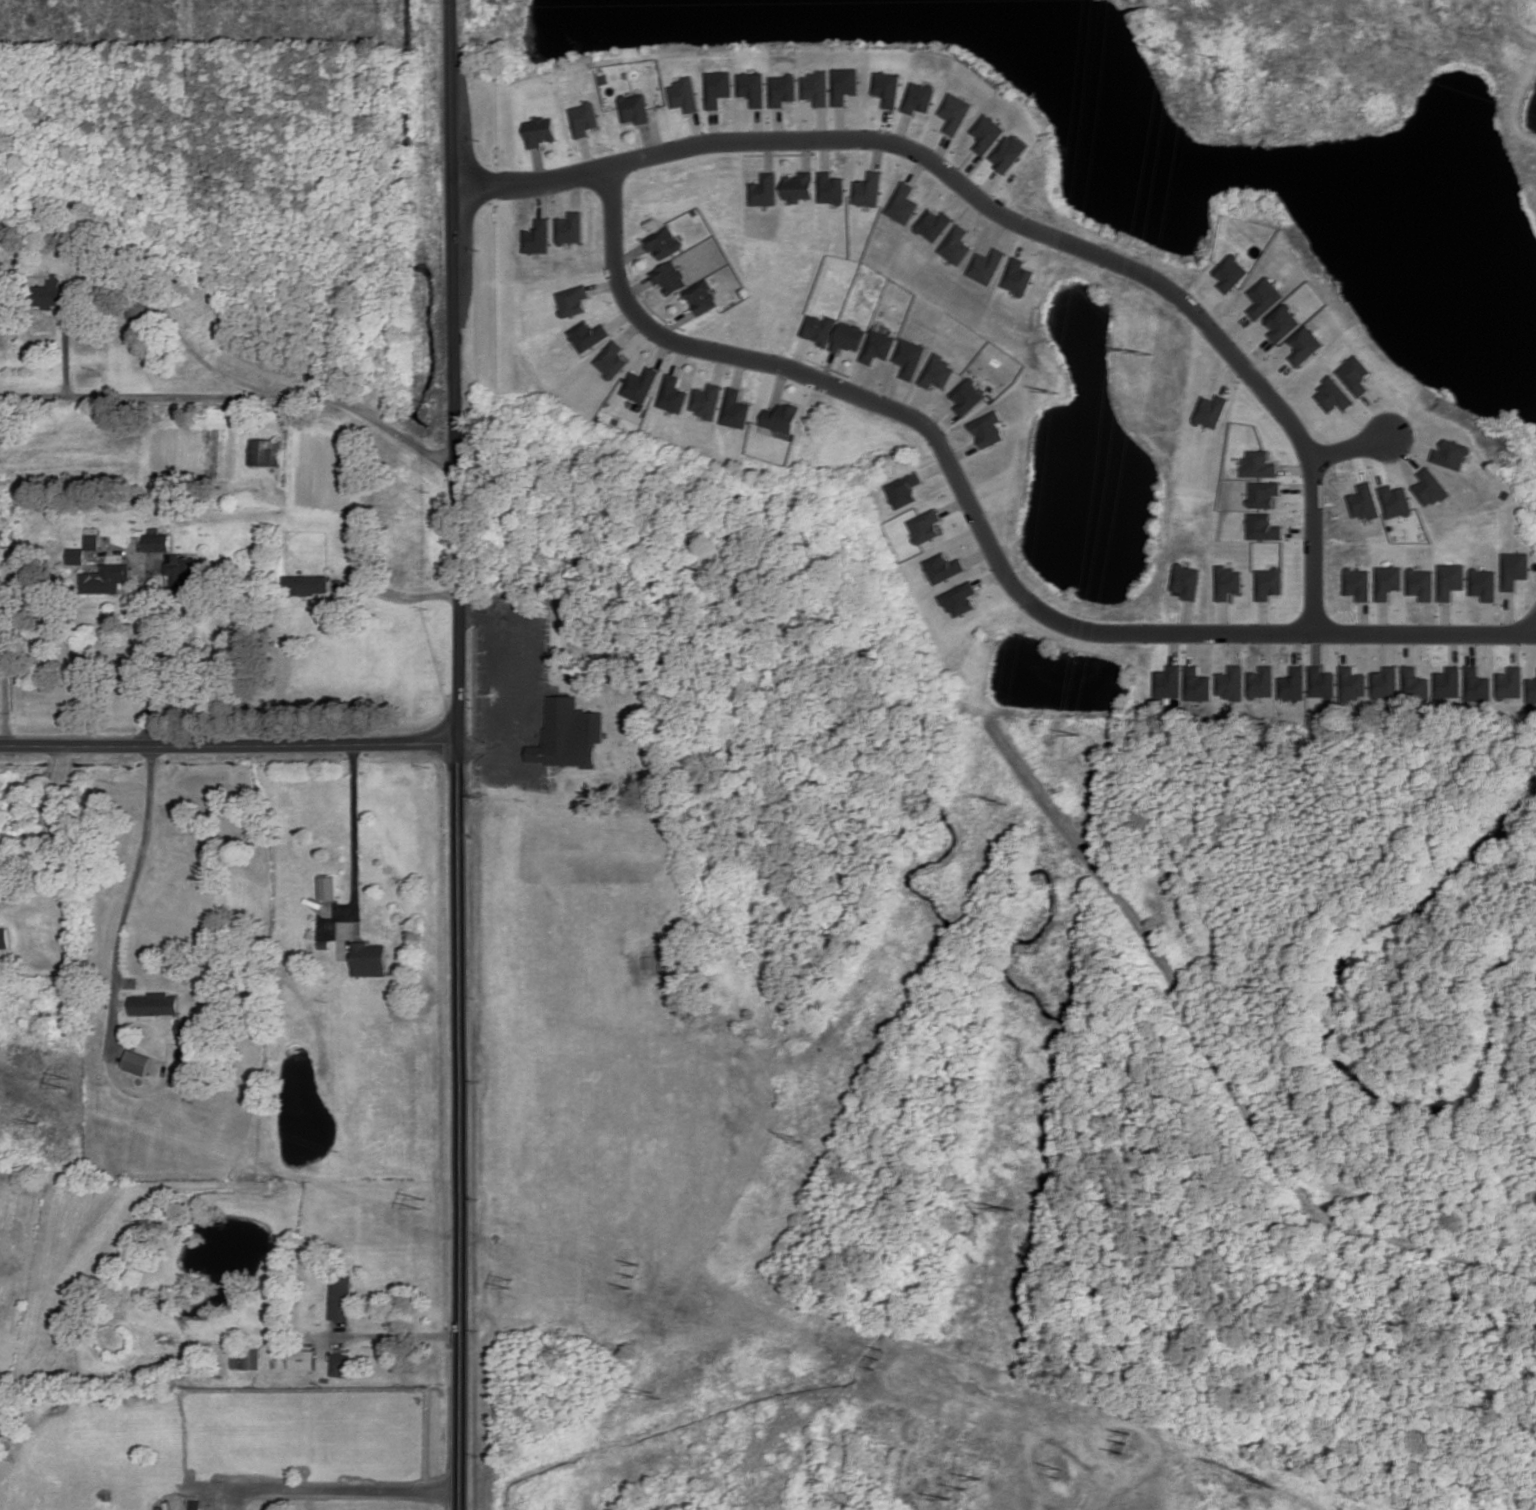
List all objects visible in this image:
building: (845, 85)
building: (719, 87)
building: (816, 87)
building: (753, 88)
building: (887, 88)
building: (783, 89)
building: (685, 94)
building: (919, 98)
building: (636, 108)
building: (955, 113)
building: (586, 118)
building: (542, 131)
building: (987, 133)
building: (1008, 152)
building: (799, 186)
building: (831, 187)
building: (869, 189)
building: (765, 190)
building: (903, 203)
road: (1000, 219)
building: (934, 224)
building: (572, 227)
building: (539, 236)
building: (665, 242)
building: (956, 244)
building: (987, 266)
building: (1231, 273)
building: (1018, 276)
building: (671, 277)
road: (145, 293)
building: (54, 294)
building: (703, 297)
building: (1264, 297)
building: (574, 300)
building: (1282, 322)
building: (819, 328)
building: (590, 335)
building: (849, 336)
building: (1305, 345)
building: (878, 346)
power tower: (1135, 351)
building: (910, 358)
building: (613, 359)
road: (452, 370)
building: (938, 372)
building: (1356, 374)
building: (642, 384)
building: (674, 394)
road: (235, 395)
building: (1333, 395)
building: (967, 396)
power tower: (1058, 398)
building: (708, 400)
building: (737, 408)
building: (1211, 410)
building: (781, 419)
building: (988, 429)
road: (1350, 452)
building: (1452, 454)
building: (1258, 463)
building: (1430, 487)
building: (904, 489)
building: (1263, 493)
building: (1365, 501)
building: (1396, 501)
building: (925, 525)
building: (1263, 526)
building: (94, 538)
road: (988, 540)
building: (159, 542)
building: (78, 555)
building: (944, 567)
building: (1515, 569)
building: (185, 571)
building: (108, 578)
building: (1451, 580)
building: (1186, 581)
building: (1389, 581)
building: (1227, 582)
building: (1268, 582)
building: (1359, 583)
building: (1422, 583)
building: (308, 584)
building: (1484, 584)
road: (399, 594)
building: (959, 598)
road: (8, 642)
road: (145, 653)
road: (502, 682)
building: (1167, 682)
building: (1229, 682)
building: (1260, 682)
building: (1321, 682)
building: (1385, 682)
building: (1447, 682)
building: (1509, 682)
building: (1292, 683)
building: (1414, 683)
building: (1196, 684)
building: (1352, 684)
building: (1476, 684)
building: (1531, 690)
power tower: (1075, 733)
building: (570, 734)
road: (226, 746)
power tower: (995, 797)
road: (358, 833)
road: (47, 835)
road: (135, 876)
building: (329, 887)
building: (4, 938)
building: (370, 959)
building: (667, 961)
building: (650, 962)
building: (154, 1004)
building: (189, 1027)
building: (139, 1062)
road: (455, 1125)
power tower: (807, 1137)
power tower: (1002, 1207)
building: (339, 1296)
road: (396, 1336)
building: (251, 1358)
building: (302, 1359)
building: (340, 1364)
power tower: (661, 1393)
power tower: (962, 1486)
road: (347, 1492)

